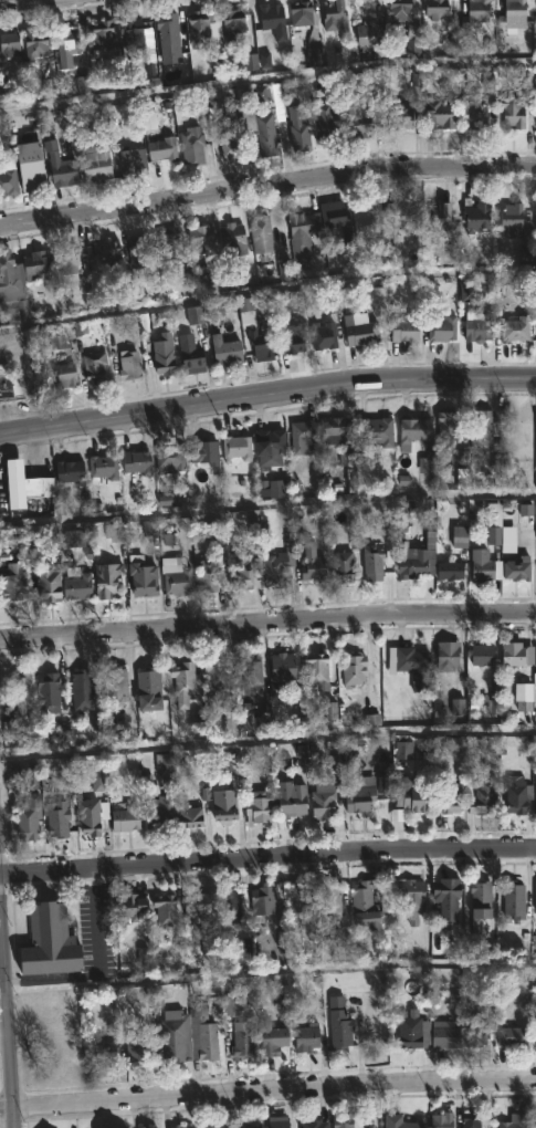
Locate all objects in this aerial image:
road: (31, 3)
building: (435, 8)
building: (397, 11)
building: (475, 12)
building: (299, 13)
building: (512, 13)
building: (334, 15)
building: (272, 21)
building: (231, 24)
building: (167, 29)
building: (201, 29)
building: (133, 34)
building: (99, 35)
building: (366, 35)
building: (8, 44)
building: (34, 46)
building: (66, 48)
building: (535, 77)
road: (267, 84)
building: (473, 112)
building: (513, 114)
building: (438, 115)
building: (357, 116)
building: (400, 116)
building: (324, 122)
building: (297, 128)
building: (265, 135)
building: (22, 137)
building: (191, 145)
building: (162, 149)
building: (230, 149)
building: (132, 161)
building: (94, 164)
building: (62, 173)
building: (30, 175)
building: (8, 182)
road: (266, 189)
building: (399, 213)
building: (476, 215)
building: (534, 215)
building: (336, 217)
building: (516, 218)
building: (440, 219)
building: (298, 234)
building: (199, 236)
building: (261, 236)
building: (232, 239)
building: (168, 240)
building: (106, 248)
building: (136, 249)
building: (66, 262)
building: (34, 263)
building: (12, 283)
road: (266, 293)
building: (514, 325)
building: (441, 326)
building: (404, 327)
building: (479, 327)
building: (359, 328)
building: (323, 334)
building: (292, 338)
building: (261, 344)
building: (225, 348)
building: (162, 353)
building: (190, 354)
building: (128, 364)
building: (94, 366)
building: (65, 374)
building: (11, 385)
road: (266, 393)
building: (335, 427)
building: (480, 428)
building: (375, 429)
building: (448, 429)
building: (413, 430)
building: (299, 435)
building: (269, 441)
building: (235, 447)
building: (203, 452)
building: (168, 458)
building: (136, 461)
building: (102, 464)
building: (70, 470)
building: (20, 481)
road: (267, 510)
building: (493, 522)
building: (527, 532)
building: (411, 561)
building: (371, 562)
building: (312, 563)
building: (341, 565)
building: (483, 565)
building: (241, 568)
building: (515, 568)
building: (274, 570)
building: (448, 570)
building: (207, 575)
building: (141, 576)
building: (106, 578)
building: (178, 579)
building: (48, 581)
building: (12, 582)
building: (76, 586)
road: (267, 623)
building: (446, 654)
building: (481, 655)
building: (517, 655)
building: (413, 666)
building: (316, 668)
building: (354, 668)
building: (281, 669)
building: (251, 670)
building: (217, 676)
building: (182, 682)
building: (147, 683)
building: (114, 686)
building: (81, 689)
building: (46, 691)
building: (525, 692)
building: (20, 697)
road: (267, 746)
building: (404, 751)
building: (22, 769)
building: (517, 793)
building: (359, 794)
building: (408, 794)
building: (323, 797)
building: (482, 797)
building: (449, 798)
building: (534, 798)
building: (292, 801)
building: (223, 804)
building: (256, 806)
building: (158, 813)
building: (188, 813)
building: (88, 816)
building: (124, 816)
building: (57, 818)
building: (27, 819)
road: (267, 857)
building: (410, 897)
building: (535, 898)
building: (446, 899)
building: (297, 900)
building: (329, 900)
building: (513, 901)
building: (262, 902)
building: (479, 902)
building: (364, 905)
building: (129, 906)
building: (196, 906)
building: (229, 906)
building: (164, 909)
building: (46, 941)
road: (267, 976)
road: (10, 1001)
building: (230, 1004)
building: (338, 1023)
building: (412, 1028)
building: (535, 1031)
building: (201, 1033)
building: (475, 1033)
building: (444, 1034)
building: (172, 1035)
building: (512, 1036)
building: (270, 1037)
building: (306, 1037)
building: (242, 1038)
building: (136, 1047)
building: (105, 1052)
road: (267, 1088)
building: (341, 1120)
building: (440, 1120)
building: (471, 1120)
building: (276, 1121)
building: (514, 1121)
building: (399, 1122)
building: (312, 1124)
building: (535, 1124)
building: (209, 1125)
building: (246, 1125)
building: (179, 1126)

